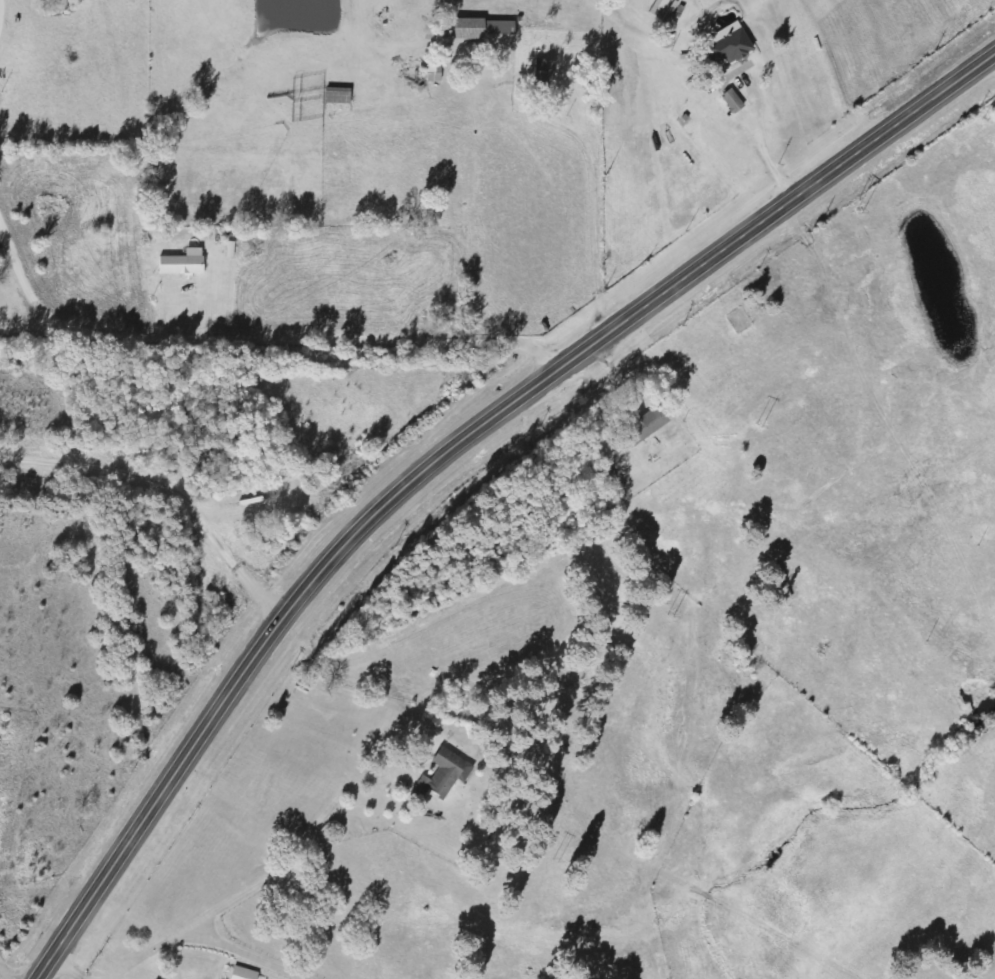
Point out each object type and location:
building: (485, 30)
building: (731, 44)
building: (544, 71)
building: (434, 74)
building: (338, 96)
building: (733, 101)
power tower: (857, 213)
building: (183, 263)
road: (256, 338)
power tower: (758, 423)
building: (647, 426)
road: (448, 449)
power tower: (669, 616)
building: (445, 775)
power tower: (555, 859)

